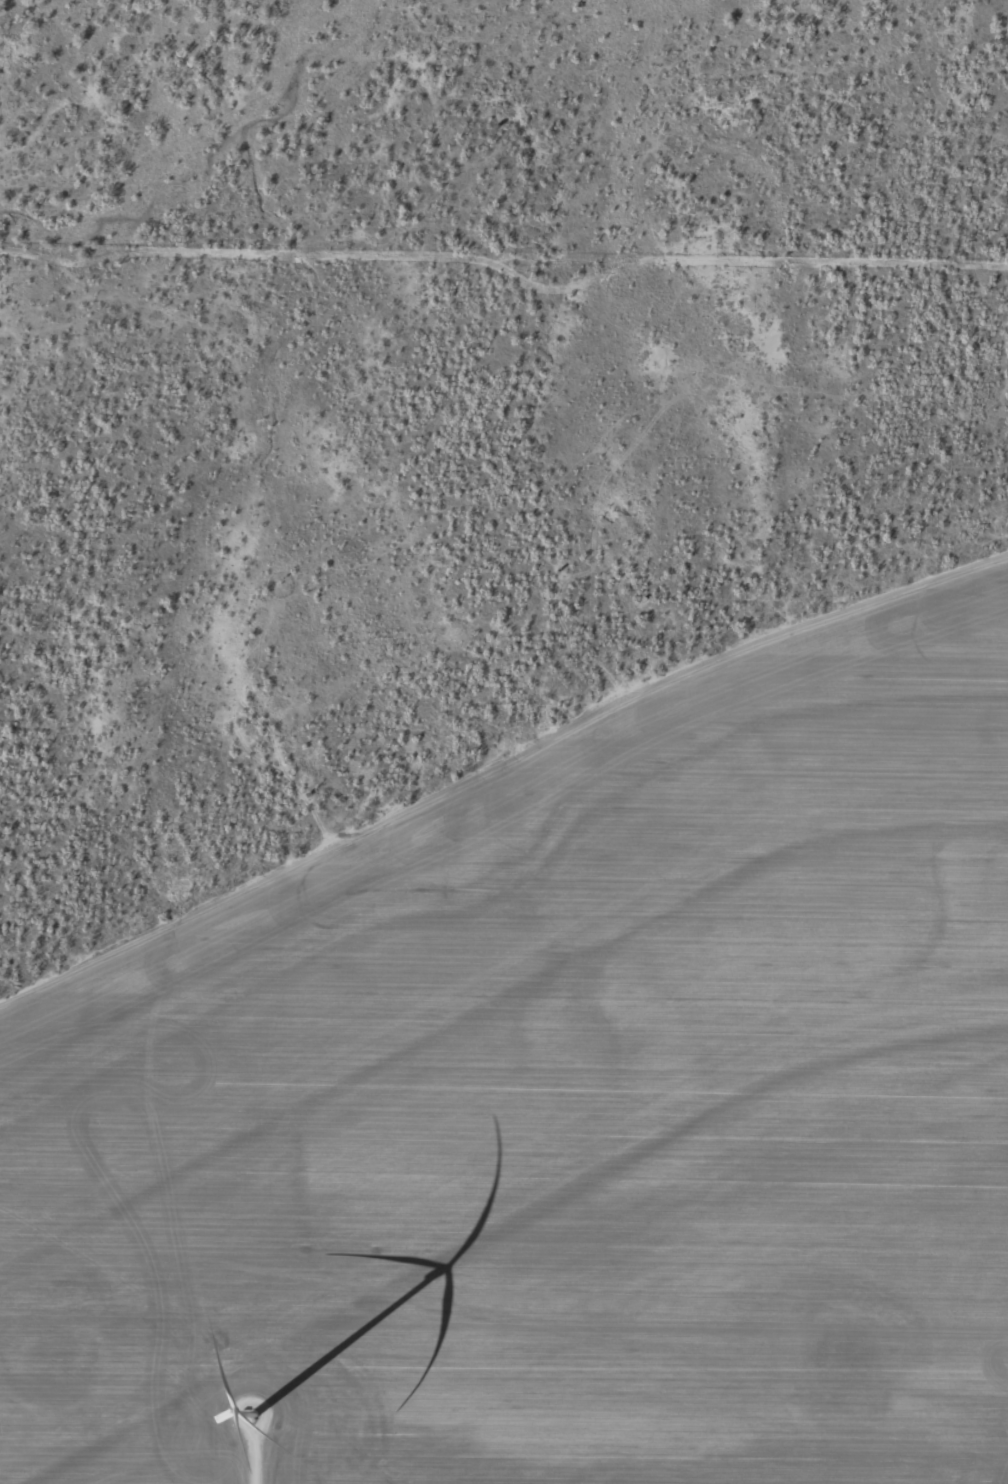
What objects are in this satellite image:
wind turbine: (245, 1400)

